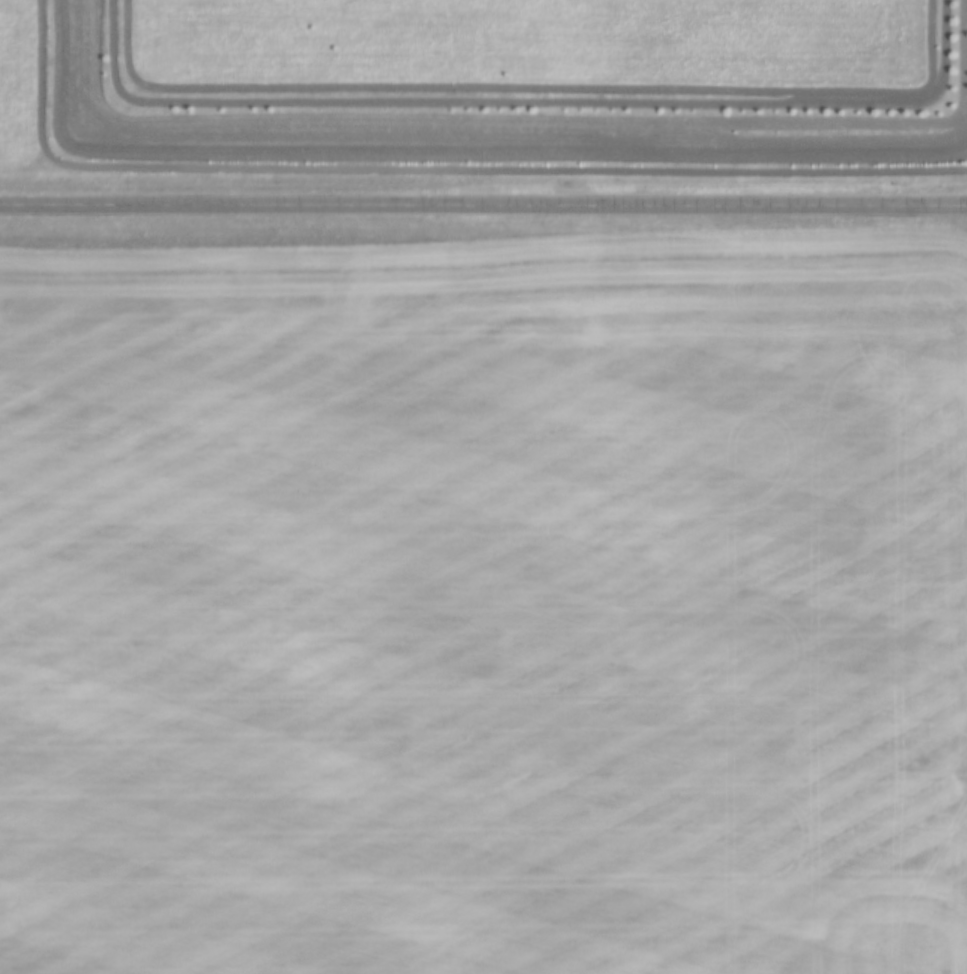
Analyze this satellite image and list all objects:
road: (483, 207)

